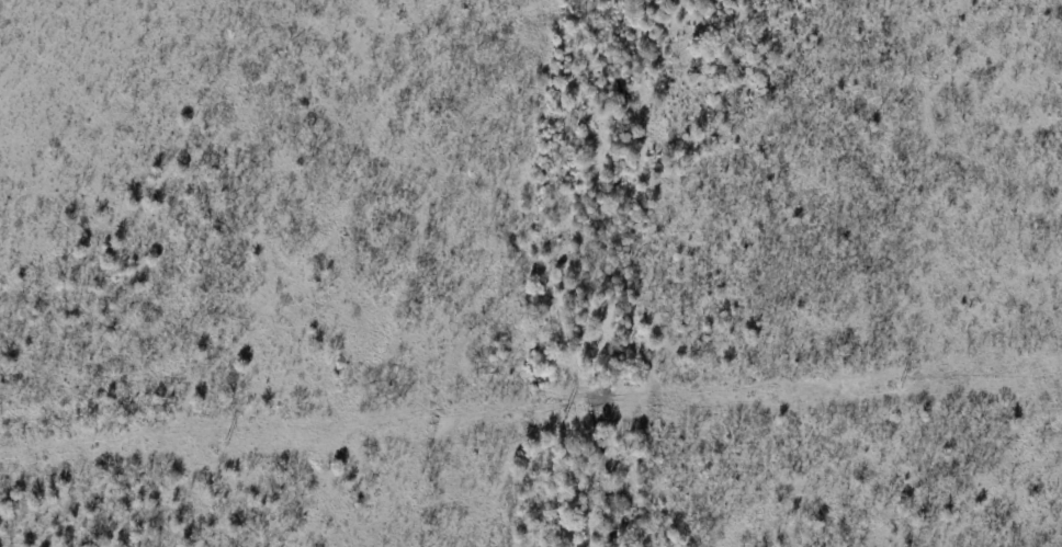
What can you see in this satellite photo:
power tower: (903, 384)
power tower: (565, 414)
power tower: (227, 441)

